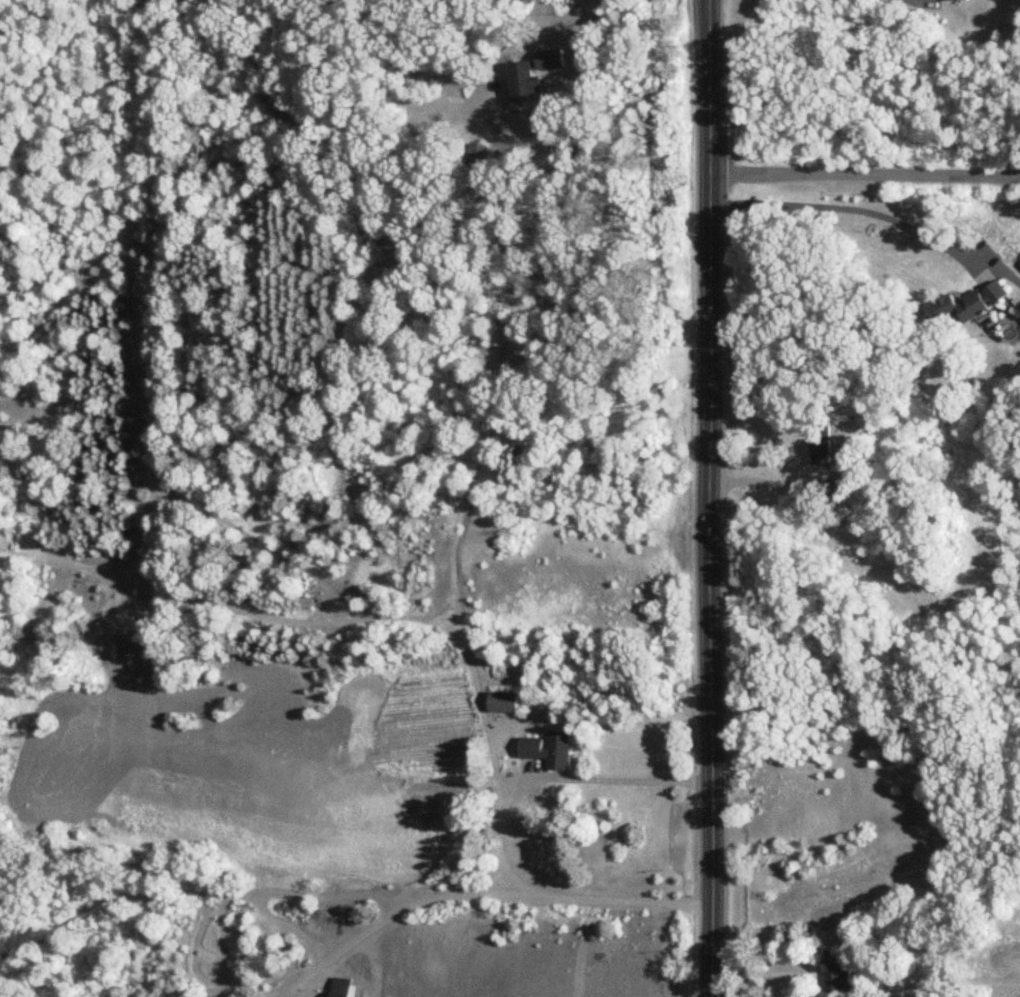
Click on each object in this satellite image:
building: (958, 0)
road: (577, 44)
building: (551, 61)
building: (524, 85)
building: (477, 155)
road: (864, 175)
road: (872, 213)
building: (968, 305)
building: (822, 445)
road: (763, 481)
building: (847, 486)
road: (709, 498)
building: (501, 703)
building: (546, 750)
road: (625, 767)
road: (482, 891)
building: (838, 976)
building: (342, 987)

